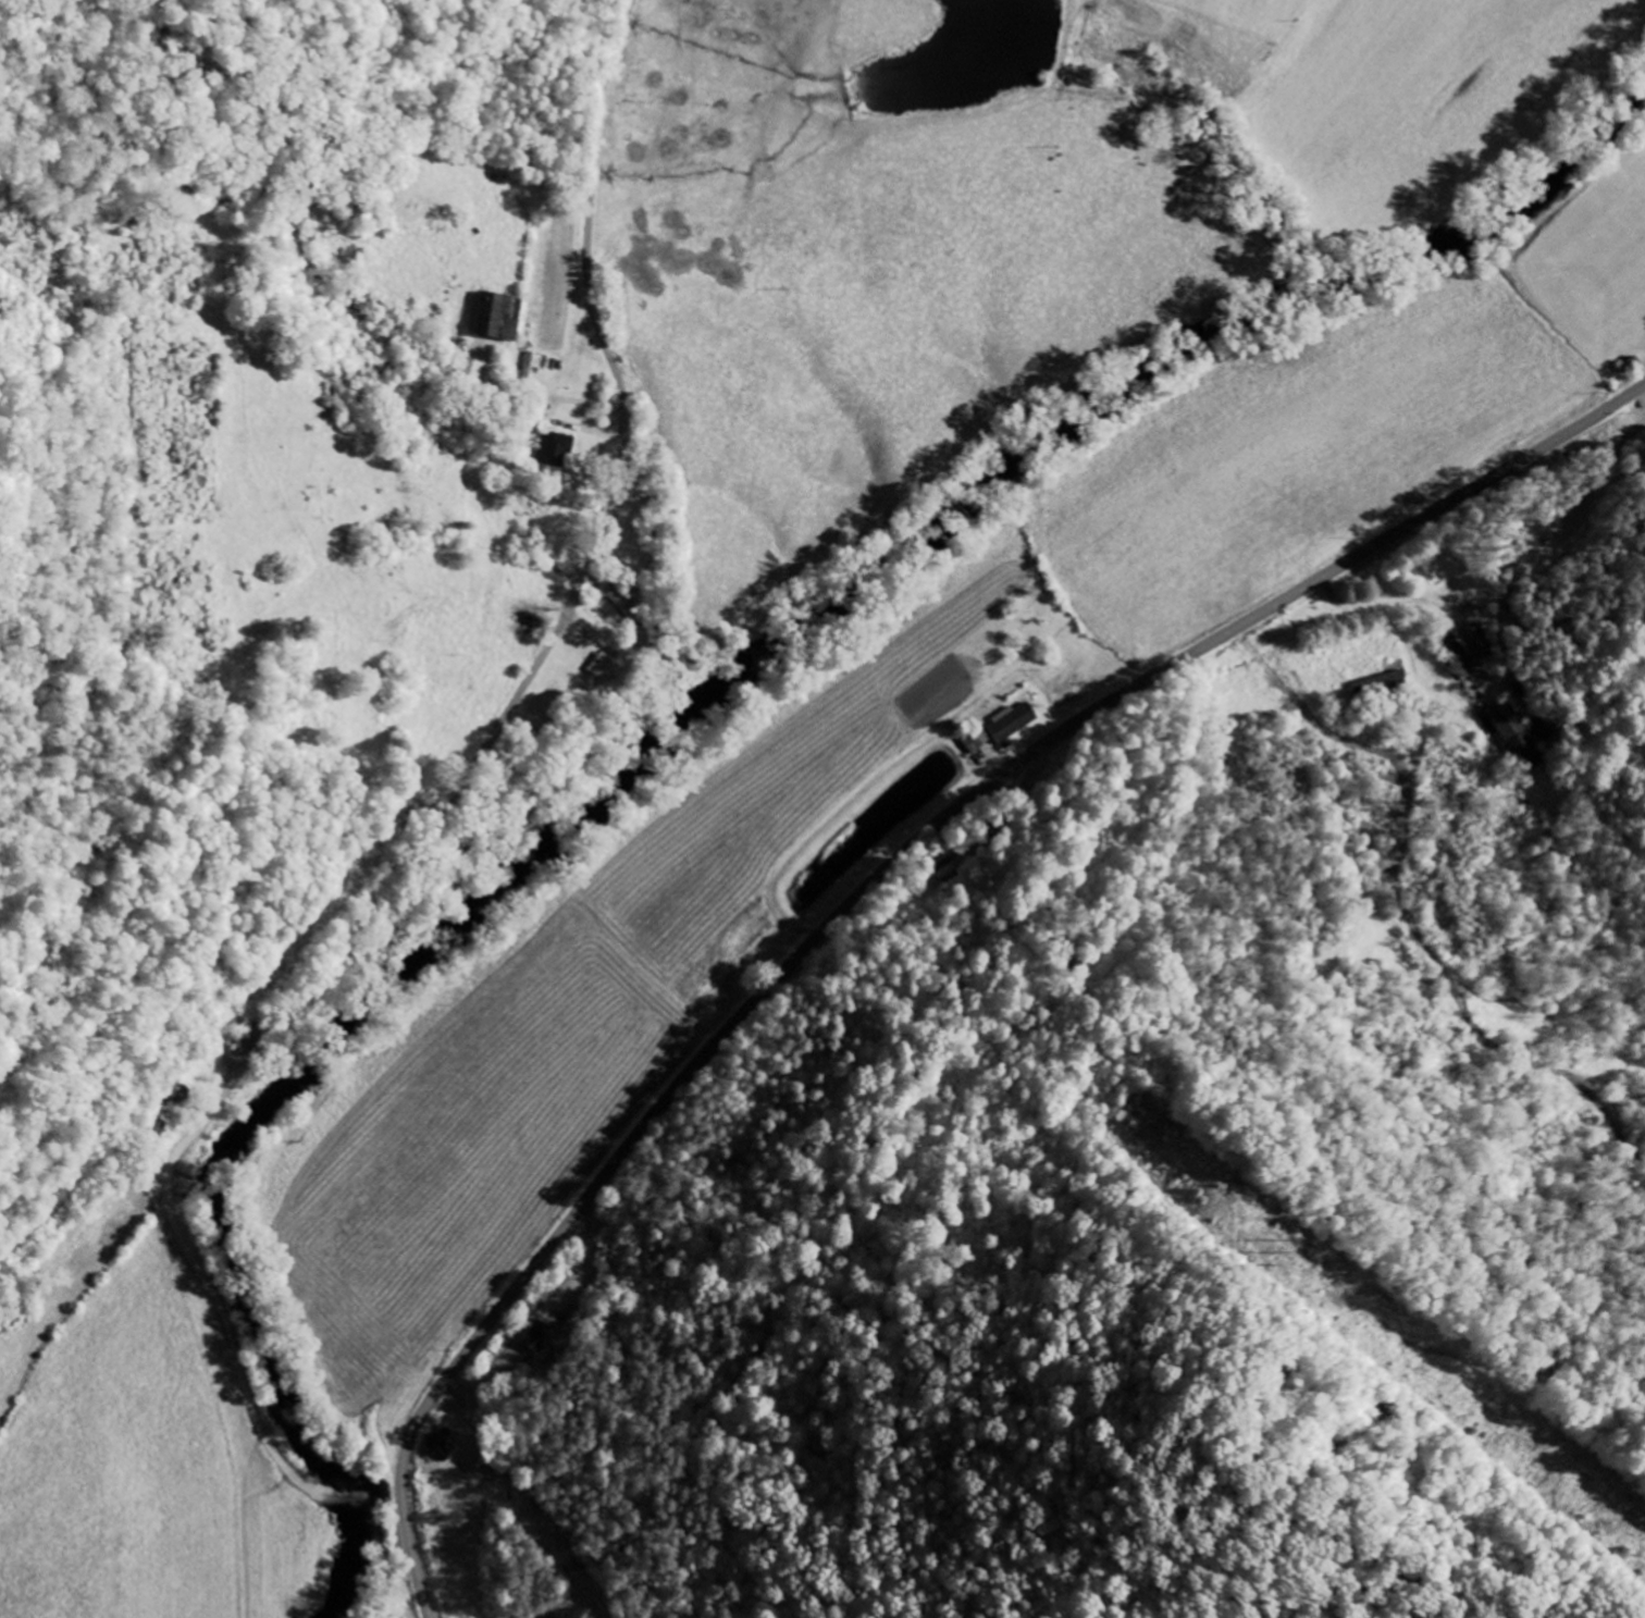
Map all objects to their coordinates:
building: (499, 318)
building: (471, 370)
building: (555, 449)
road: (561, 622)
building: (1467, 663)
building: (606, 667)
building: (1382, 686)
building: (1015, 724)
building: (1511, 730)
building: (978, 741)
road: (877, 878)
road: (85, 1218)
power tower: (1271, 1243)
building: (540, 1336)
road: (252, 1407)

